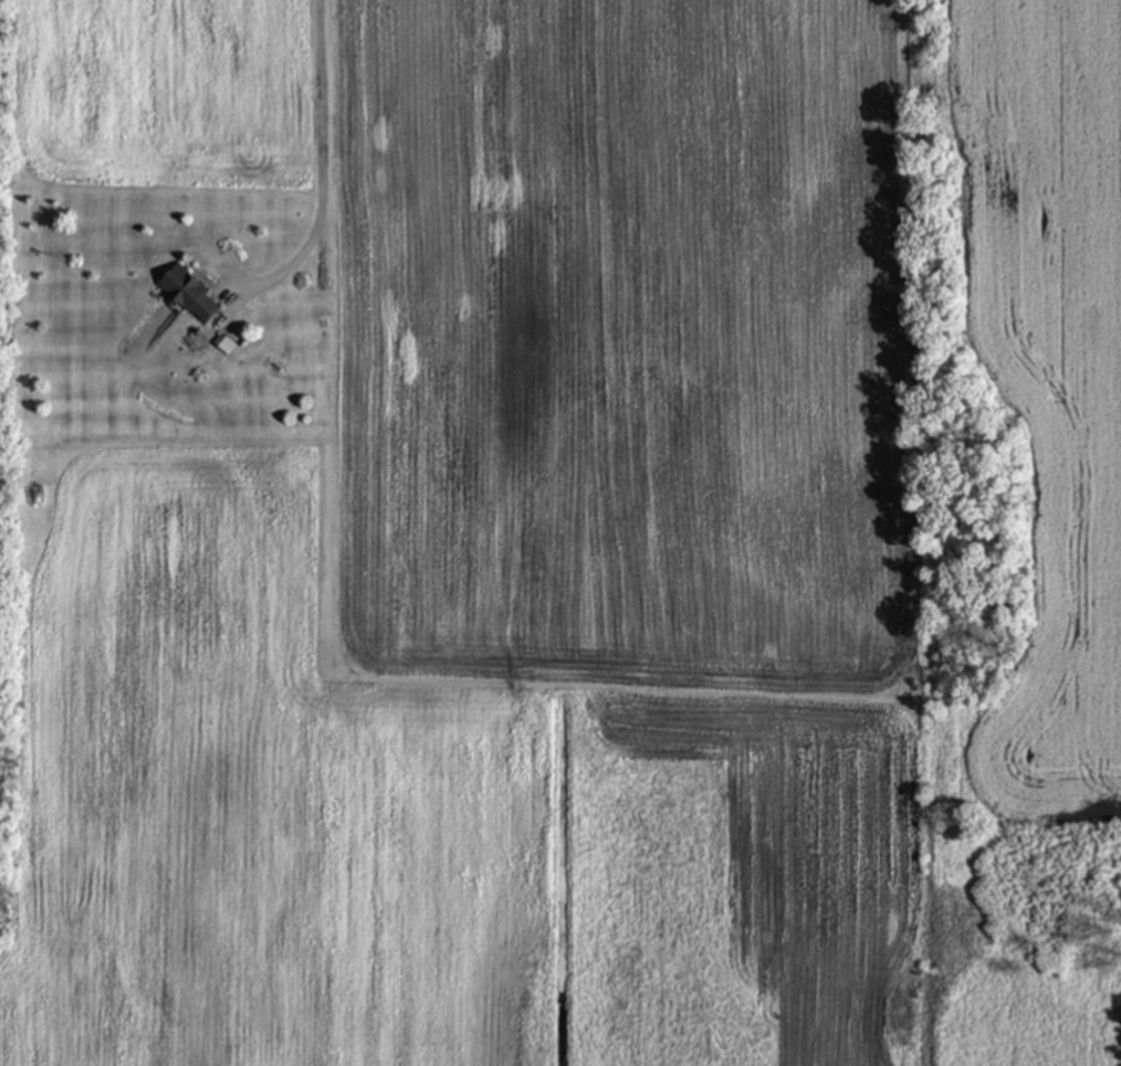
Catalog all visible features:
road: (321, 169)
building: (190, 296)

